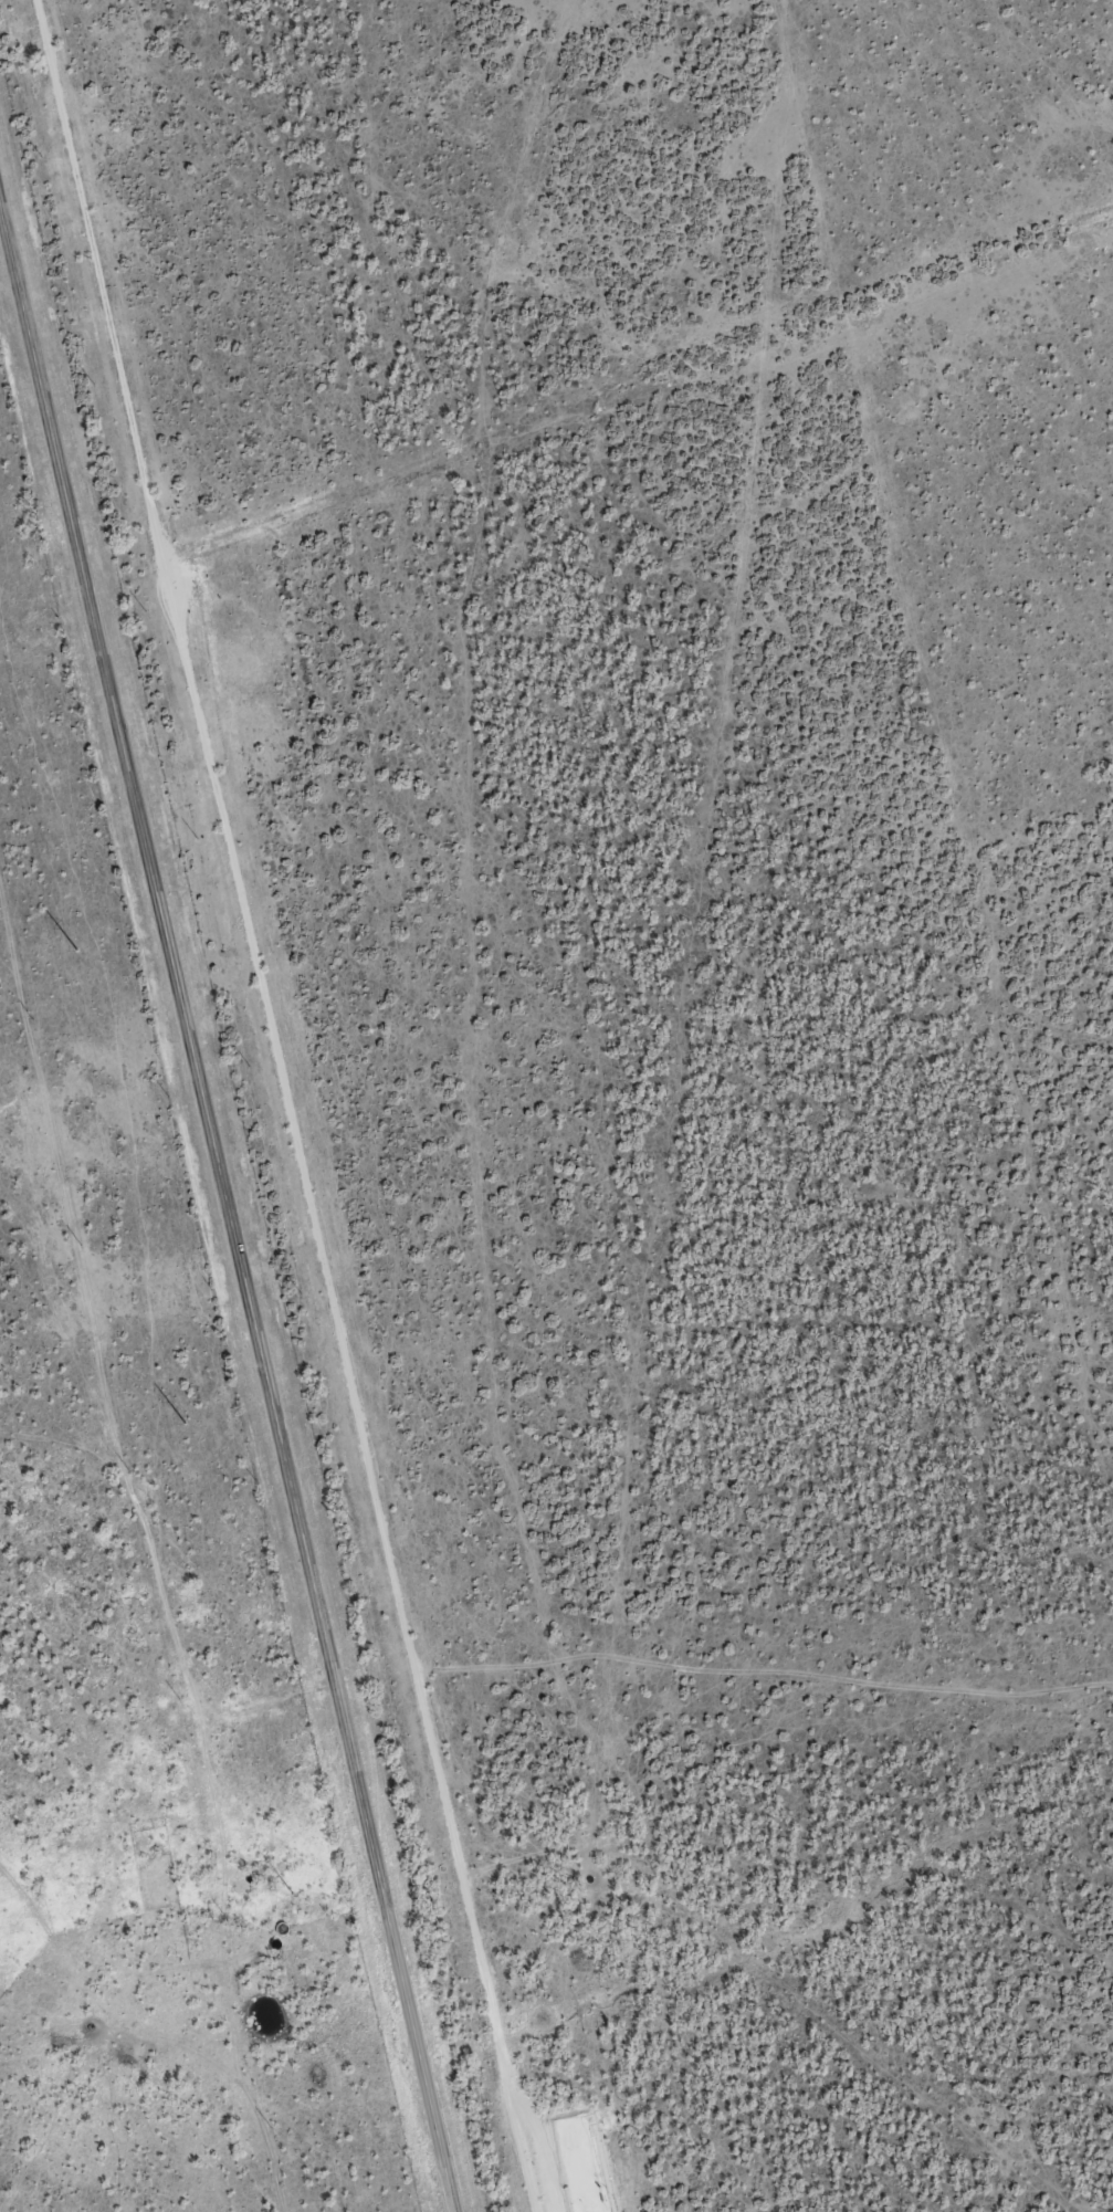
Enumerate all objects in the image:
road: (449, 830)
power tower: (73, 951)
road: (6, 1028)
road: (230, 1236)
power tower: (180, 1424)
road: (13, 1437)
road: (492, 1681)
power tower: (288, 1896)
road: (200, 2057)

